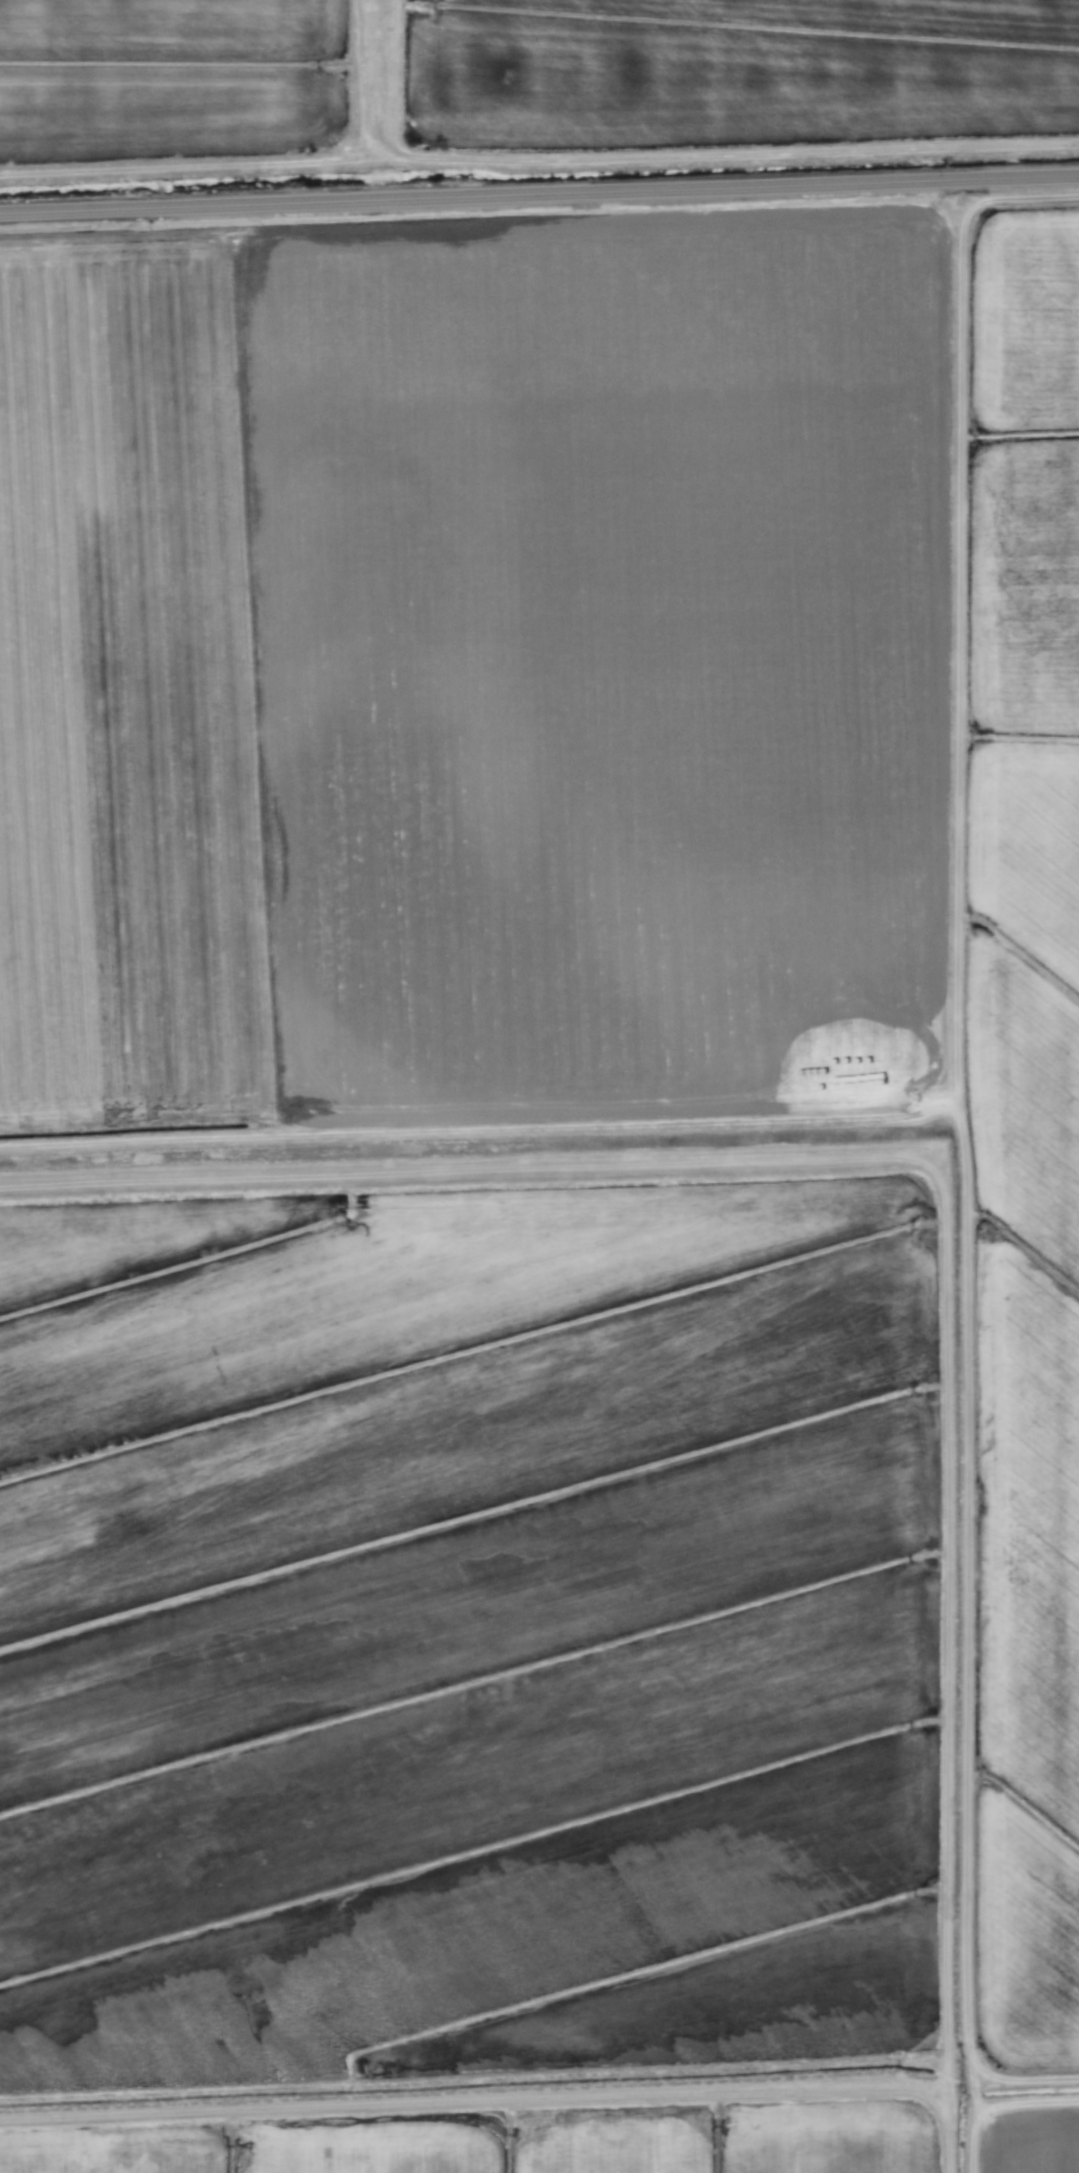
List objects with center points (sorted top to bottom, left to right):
road: (539, 195)

